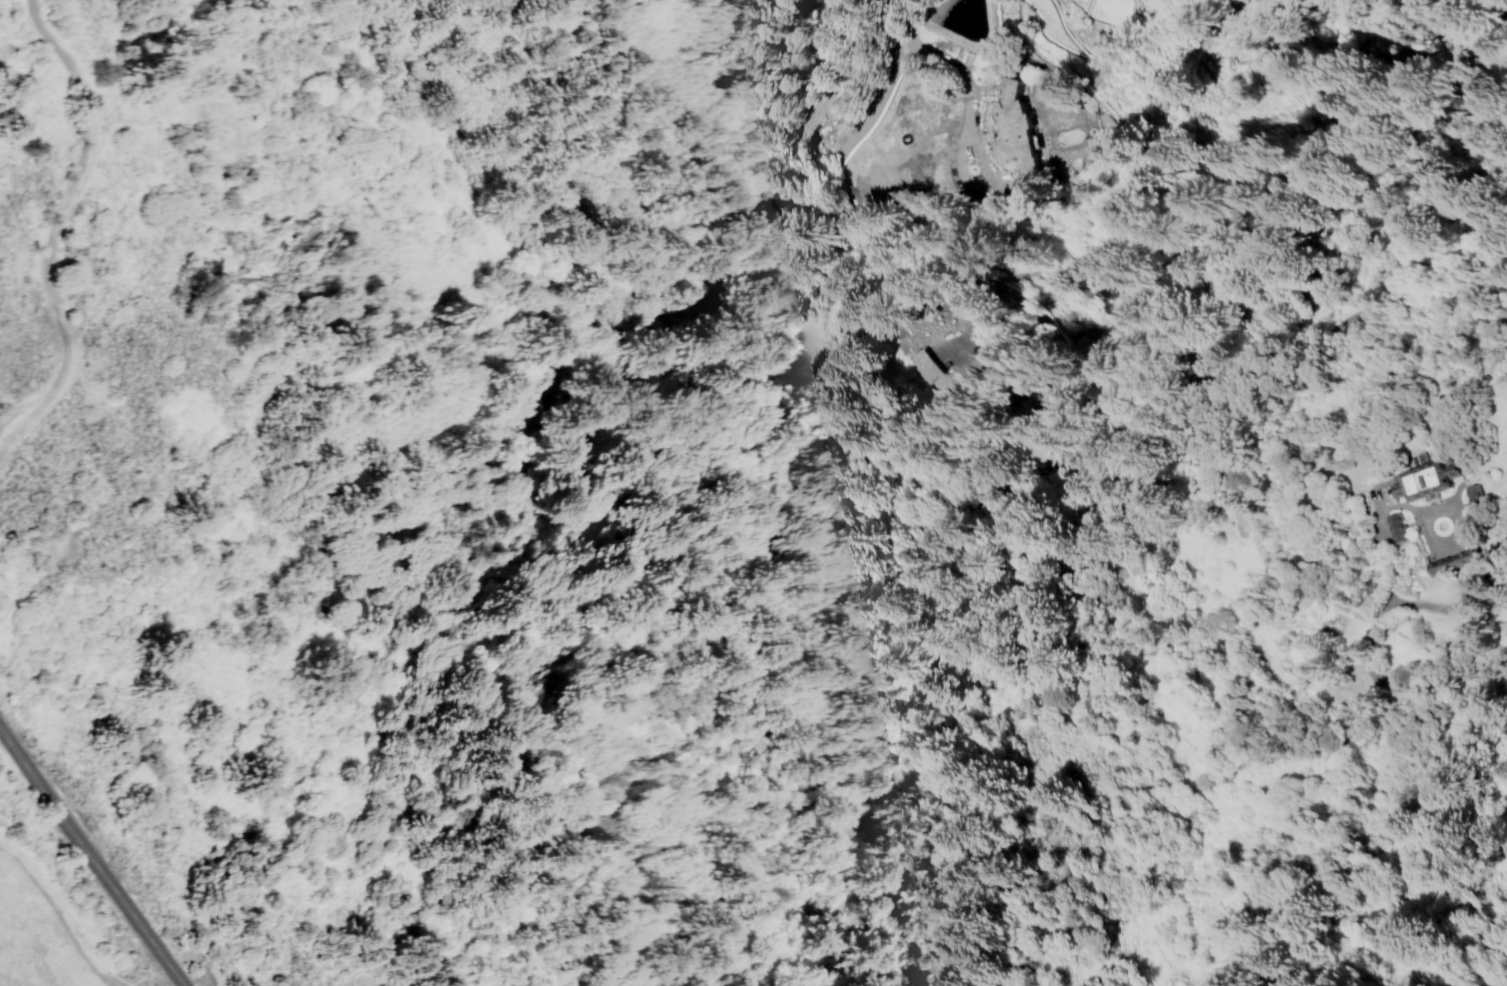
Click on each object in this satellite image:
building: (1018, 125)
road: (56, 231)
road: (24, 396)
building: (1425, 481)
building: (1471, 494)
building: (1394, 528)
road: (369, 652)
road: (93, 856)
road: (1009, 959)

